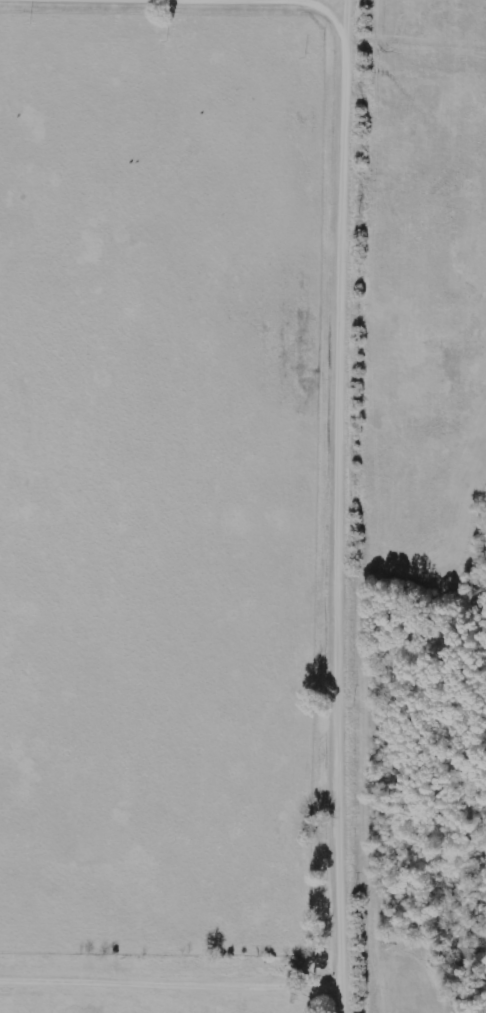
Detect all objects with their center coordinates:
road: (211, 2)
road: (346, 506)
road: (173, 984)

